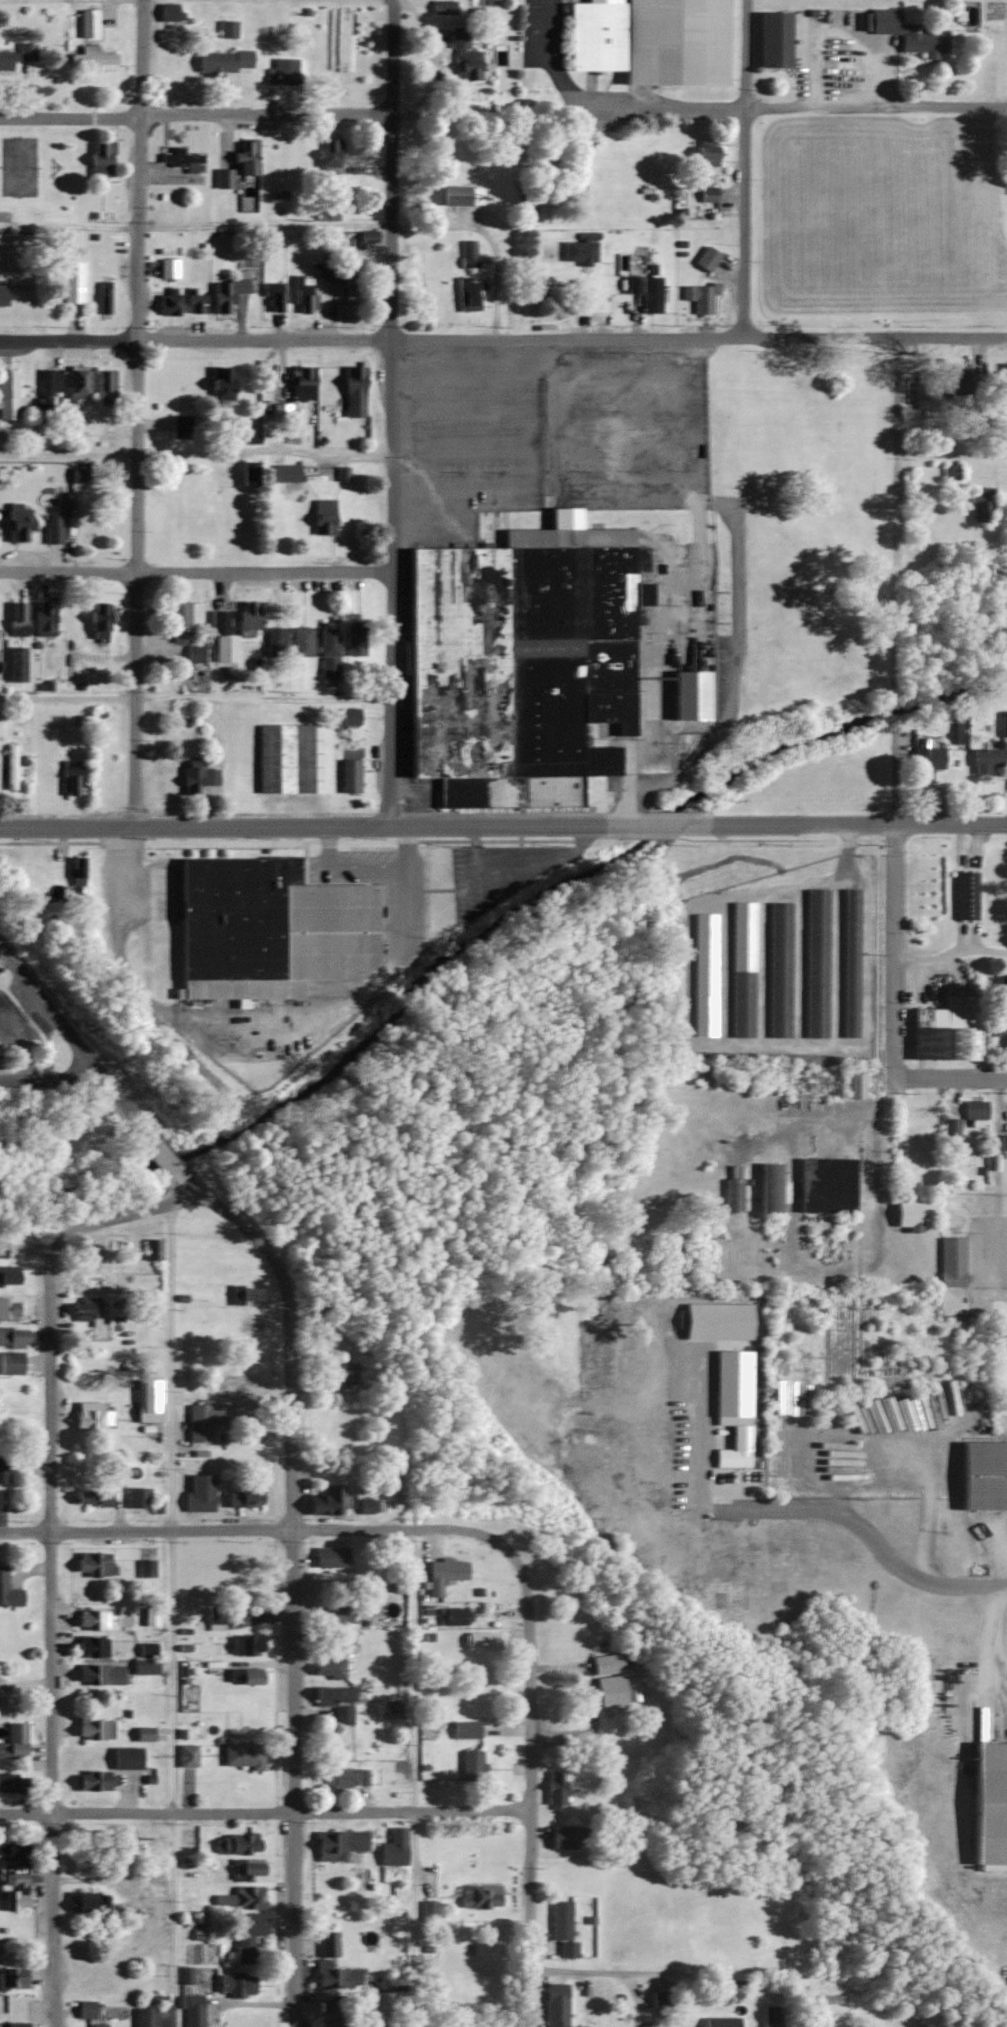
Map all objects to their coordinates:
building: (444, 7)
building: (169, 13)
building: (88, 24)
building: (227, 29)
building: (908, 33)
building: (650, 40)
building: (774, 40)
building: (26, 52)
building: (172, 56)
building: (464, 56)
building: (92, 58)
building: (5, 60)
building: (203, 66)
building: (284, 72)
road: (573, 108)
road: (70, 116)
building: (329, 157)
building: (101, 158)
building: (707, 158)
building: (181, 160)
building: (238, 165)
road: (745, 168)
building: (708, 193)
building: (456, 194)
road: (302, 225)
building: (367, 239)
building: (580, 250)
building: (468, 253)
building: (707, 258)
building: (168, 268)
building: (350, 279)
building: (73, 281)
building: (647, 286)
building: (6, 292)
building: (226, 293)
building: (303, 293)
building: (468, 293)
building: (272, 296)
building: (701, 297)
building: (103, 298)
building: (169, 301)
building: (195, 303)
road: (503, 337)
building: (77, 383)
building: (221, 383)
building: (301, 384)
building: (956, 384)
building: (105, 386)
building: (49, 388)
building: (354, 390)
building: (9, 394)
building: (1003, 401)
building: (281, 412)
road: (136, 413)
road: (395, 413)
building: (180, 426)
road: (953, 452)
road: (198, 454)
building: (951, 471)
building: (248, 473)
building: (286, 473)
building: (980, 503)
building: (323, 516)
building: (18, 521)
building: (53, 528)
road: (197, 570)
building: (45, 617)
building: (249, 617)
building: (17, 618)
building: (99, 620)
building: (179, 621)
building: (222, 637)
building: (275, 641)
building: (301, 641)
building: (355, 641)
building: (329, 649)
building: (195, 653)
building: (524, 662)
building: (17, 664)
building: (690, 694)
road: (265, 695)
road: (898, 706)
building: (349, 716)
building: (1003, 723)
building: (298, 758)
building: (987, 759)
road: (631, 762)
building: (926, 762)
building: (10, 767)
building: (350, 776)
building: (197, 778)
building: (69, 779)
road: (669, 826)
road: (860, 826)
road: (312, 828)
road: (345, 868)
building: (77, 871)
building: (966, 894)
building: (268, 929)
road: (3, 955)
road: (953, 957)
building: (850, 962)
building: (817, 963)
building: (779, 969)
building: (1003, 986)
building: (742, 1003)
road: (258, 1028)
building: (1002, 1029)
building: (948, 1030)
road: (75, 1039)
road: (953, 1074)
road: (50, 1082)
building: (856, 1085)
road: (1006, 1086)
building: (975, 1112)
building: (951, 1127)
road: (168, 1156)
building: (827, 1185)
building: (773, 1186)
building: (733, 1195)
building: (913, 1214)
building: (152, 1248)
building: (3, 1250)
road: (797, 1253)
building: (952, 1262)
building: (9, 1275)
building: (91, 1276)
building: (245, 1295)
building: (9, 1308)
building: (86, 1308)
building: (13, 1336)
building: (10, 1363)
building: (346, 1374)
building: (235, 1390)
building: (739, 1396)
building: (149, 1400)
building: (94, 1418)
building: (12, 1420)
building: (199, 1423)
building: (736, 1450)
building: (4, 1471)
building: (984, 1476)
building: (200, 1493)
building: (138, 1497)
building: (93, 1498)
building: (243, 1499)
building: (330, 1502)
building: (366, 1509)
road: (767, 1512)
road: (259, 1527)
building: (331, 1557)
road: (51, 1559)
building: (95, 1564)
building: (146, 1568)
building: (444, 1575)
road: (295, 1582)
road: (965, 1589)
building: (8, 1592)
building: (330, 1614)
road: (170, 1615)
building: (150, 1616)
building: (457, 1616)
building: (216, 1619)
building: (96, 1620)
building: (343, 1635)
building: (482, 1641)
building: (246, 1645)
building: (93, 1646)
building: (147, 1649)
building: (606, 1665)
building: (146, 1666)
building: (329, 1667)
building: (102, 1674)
building: (247, 1676)
building: (611, 1692)
building: (337, 1702)
building: (392, 1706)
building: (94, 1729)
building: (466, 1729)
building: (144, 1733)
road: (572, 1739)
building: (12, 1750)
building: (187, 1755)
building: (242, 1755)
building: (127, 1758)
building: (472, 1765)
road: (410, 1777)
building: (348, 1778)
building: (92, 1781)
building: (13, 1782)
road: (529, 1787)
building: (555, 1789)
building: (990, 1804)
road: (264, 1812)
building: (563, 1837)
building: (339, 1843)
building: (236, 1844)
building: (13, 1848)
building: (394, 1848)
building: (247, 1869)
building: (147, 1886)
building: (15, 1891)
building: (248, 1897)
building: (481, 1897)
building: (222, 1899)
building: (88, 1901)
building: (429, 1911)
building: (563, 1928)
building: (247, 1935)
building: (325, 1963)
road: (686, 1970)
building: (13, 1979)
building: (97, 1981)
building: (235, 1984)
building: (835, 1990)
building: (660, 2000)
building: (556, 2005)
building: (85, 2009)
building: (193, 2011)
building: (772, 2016)
building: (147, 2017)
building: (721, 2022)
building: (13, 2024)
building: (98, 2025)
building: (335, 2026)

